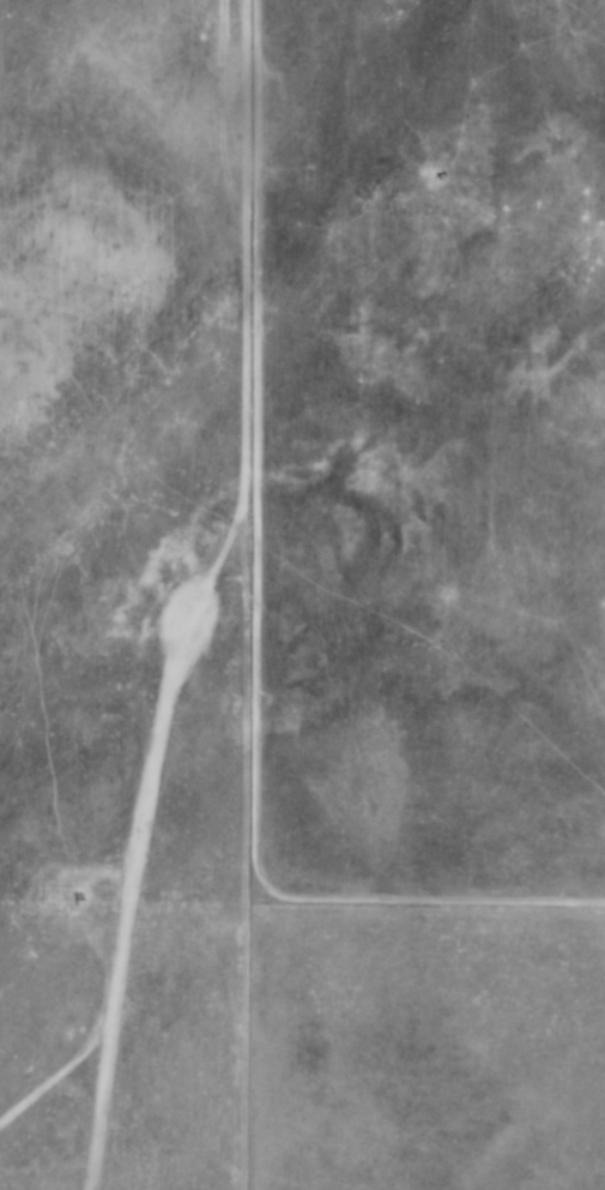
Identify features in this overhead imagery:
airport runway: (125, 901)
airport taxiway: (55, 1071)

